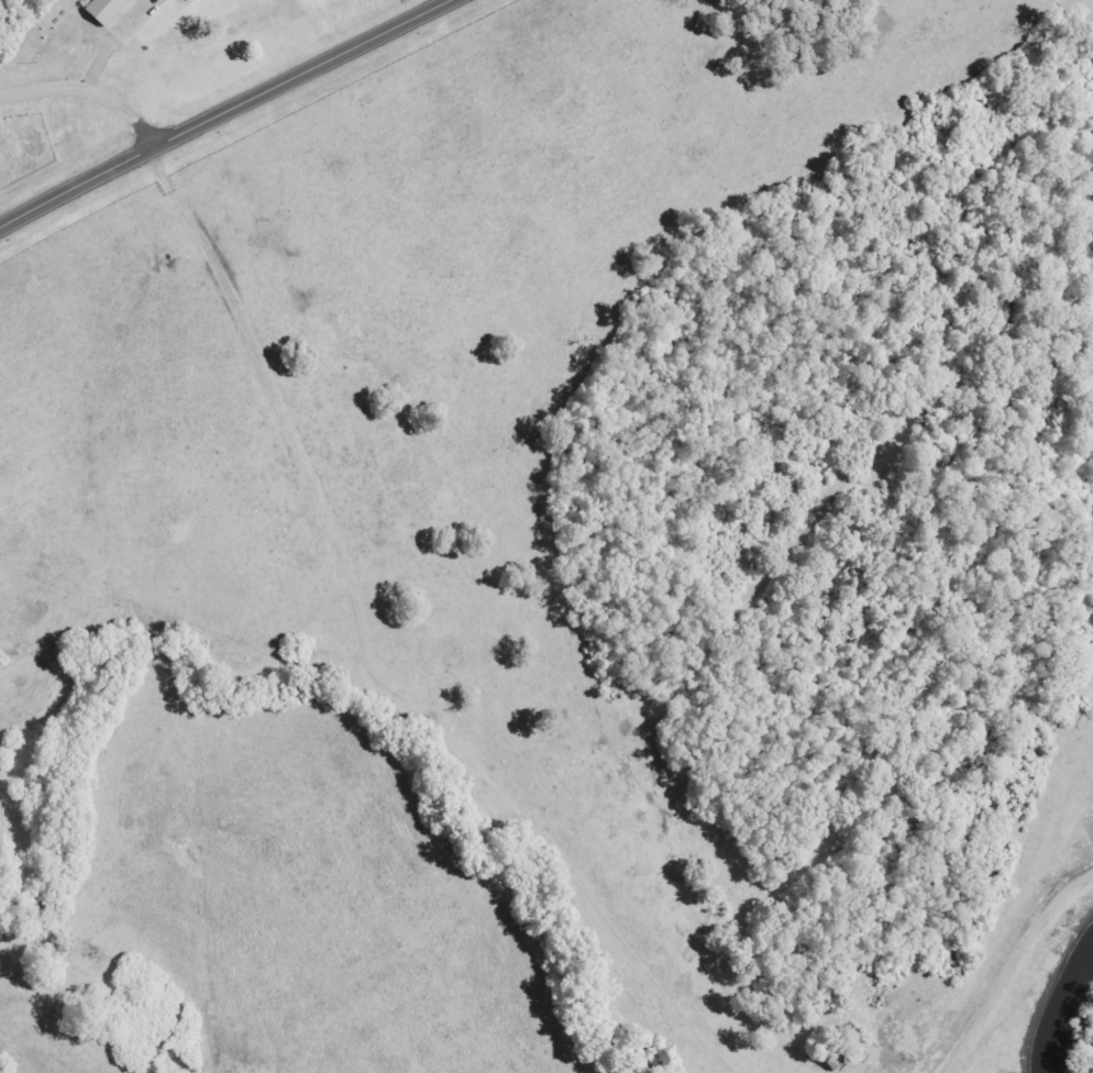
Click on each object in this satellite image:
building: (102, 10)
road: (90, 90)
road: (227, 114)

